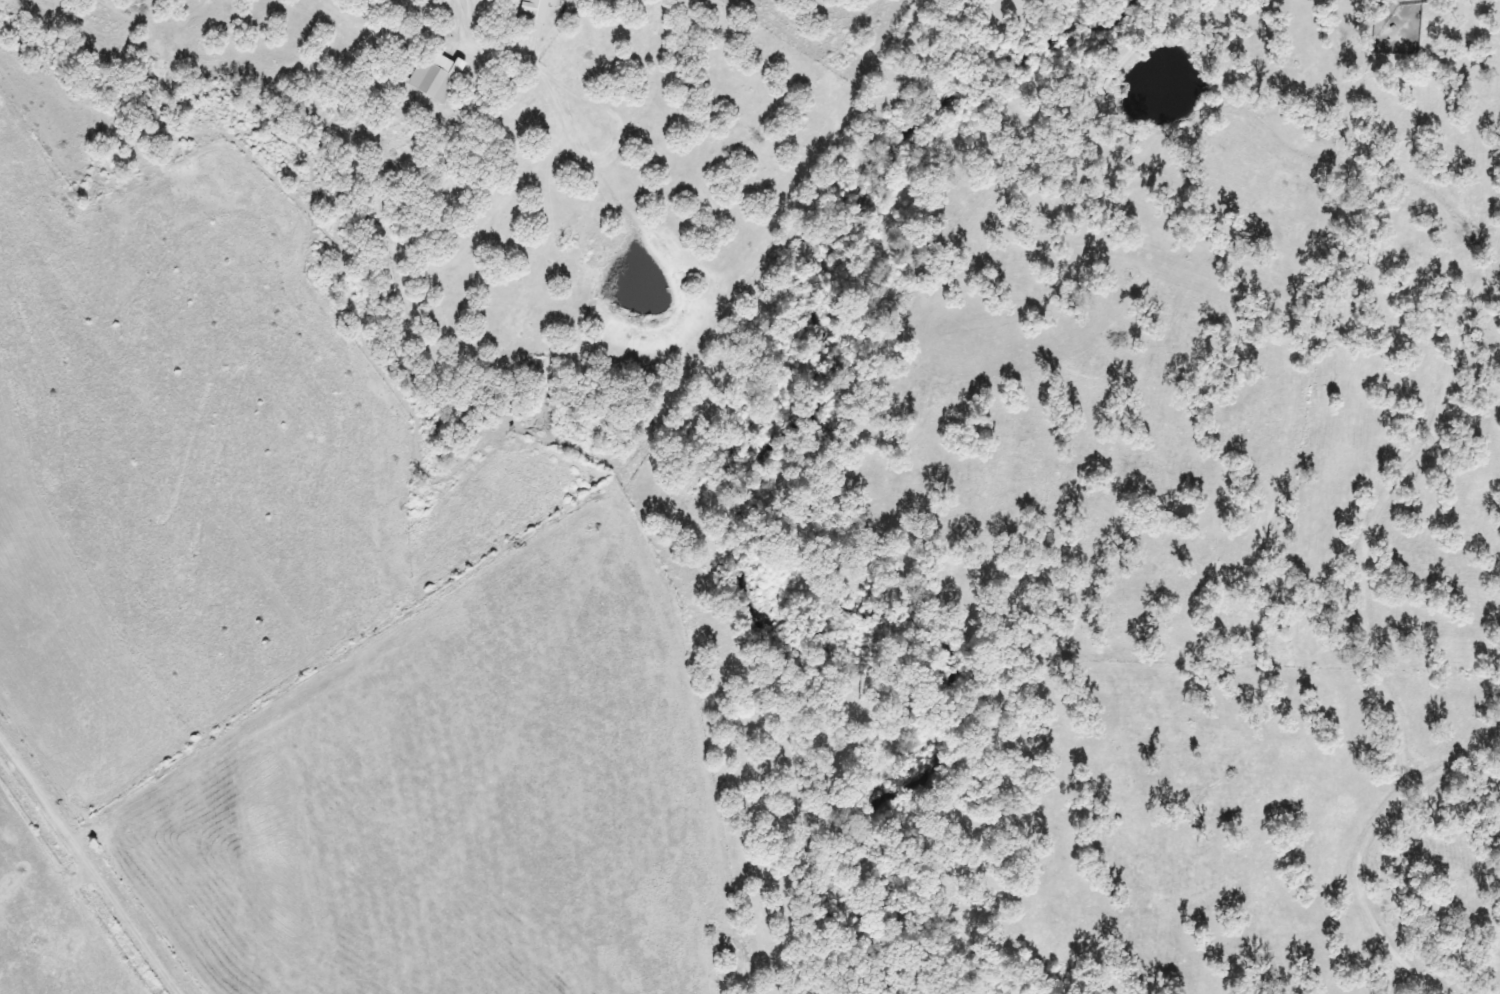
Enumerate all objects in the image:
building: (559, 0)
building: (528, 17)
building: (431, 79)

